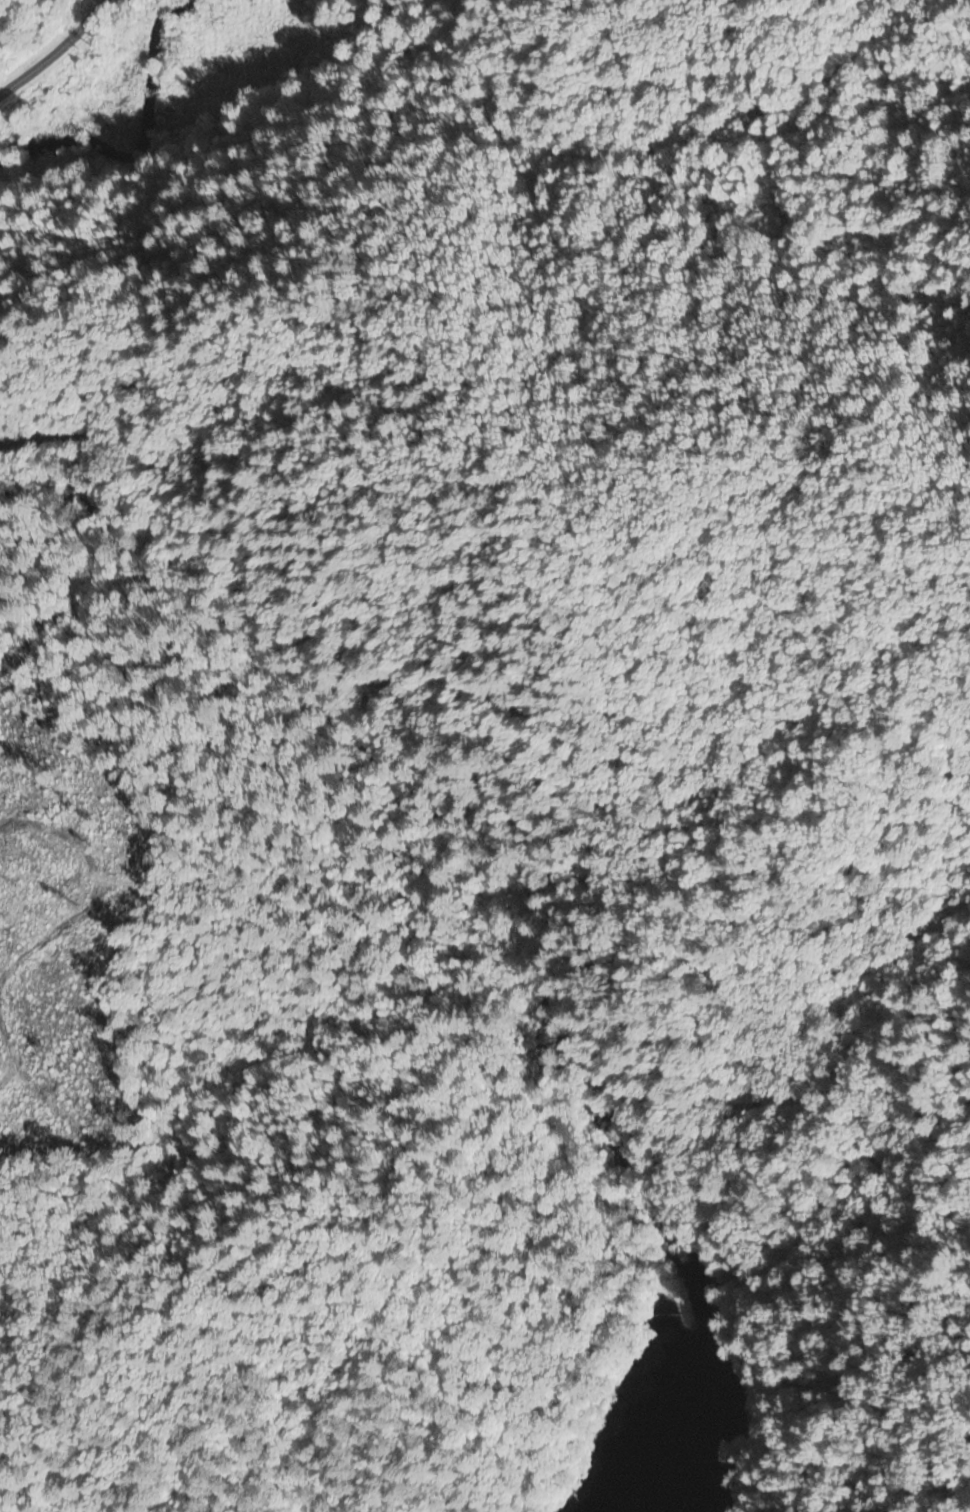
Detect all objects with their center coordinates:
road: (56, 51)
road: (515, 699)
road: (956, 1041)

